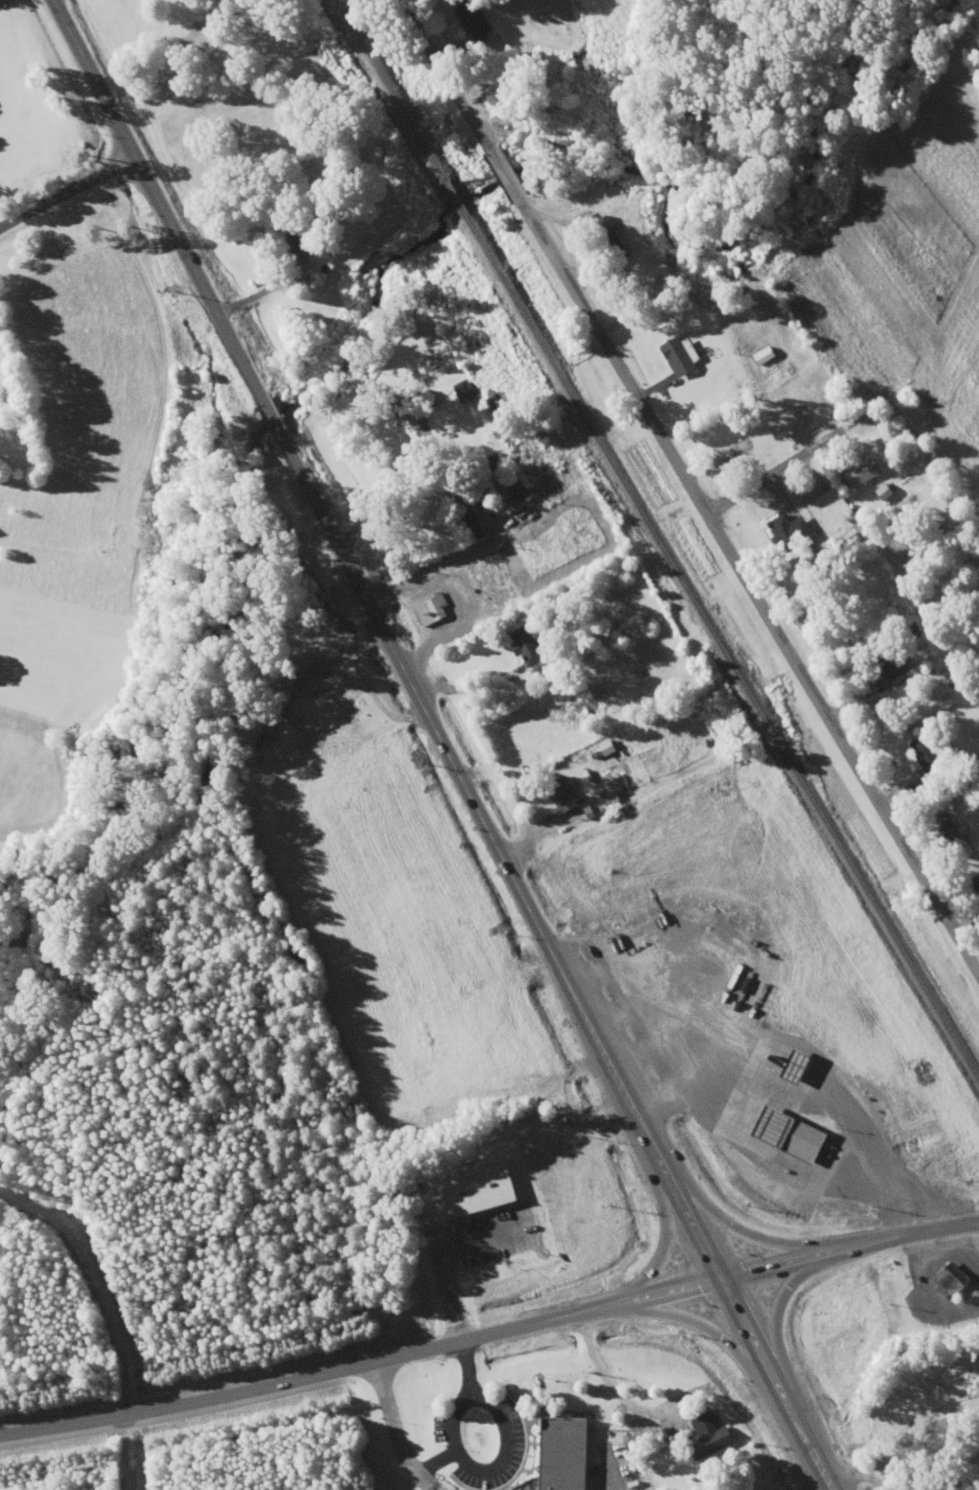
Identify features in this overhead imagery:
building: (472, 19)
road: (466, 85)
road: (66, 185)
road: (155, 202)
building: (582, 222)
building: (291, 236)
building: (676, 357)
building: (462, 391)
road: (273, 422)
building: (543, 433)
building: (716, 446)
building: (517, 484)
building: (809, 490)
building: (466, 510)
building: (785, 533)
railway: (655, 542)
building: (558, 572)
building: (488, 574)
road: (738, 574)
building: (430, 611)
building: (627, 632)
building: (524, 646)
road: (890, 646)
building: (887, 659)
building: (925, 755)
building: (562, 799)
building: (977, 880)
road: (556, 964)
building: (794, 1133)
road: (731, 1224)
road: (666, 1233)
building: (524, 1238)
road: (849, 1245)
building: (953, 1282)
road: (775, 1317)
road: (720, 1339)
road: (362, 1363)
building: (703, 1427)
building: (565, 1453)
road: (904, 1458)

